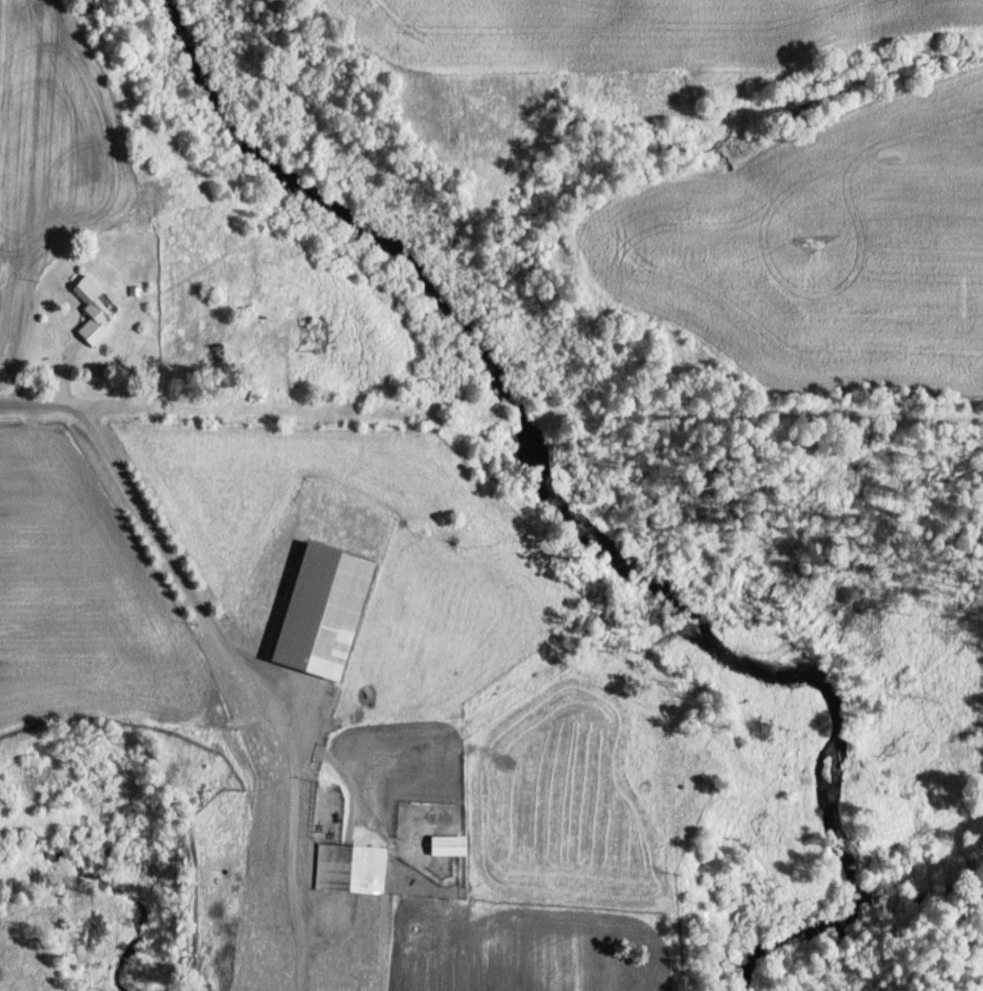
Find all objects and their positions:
building: (91, 310)
road: (78, 405)
road: (765, 413)
river: (583, 526)
building: (359, 542)
building: (350, 867)

